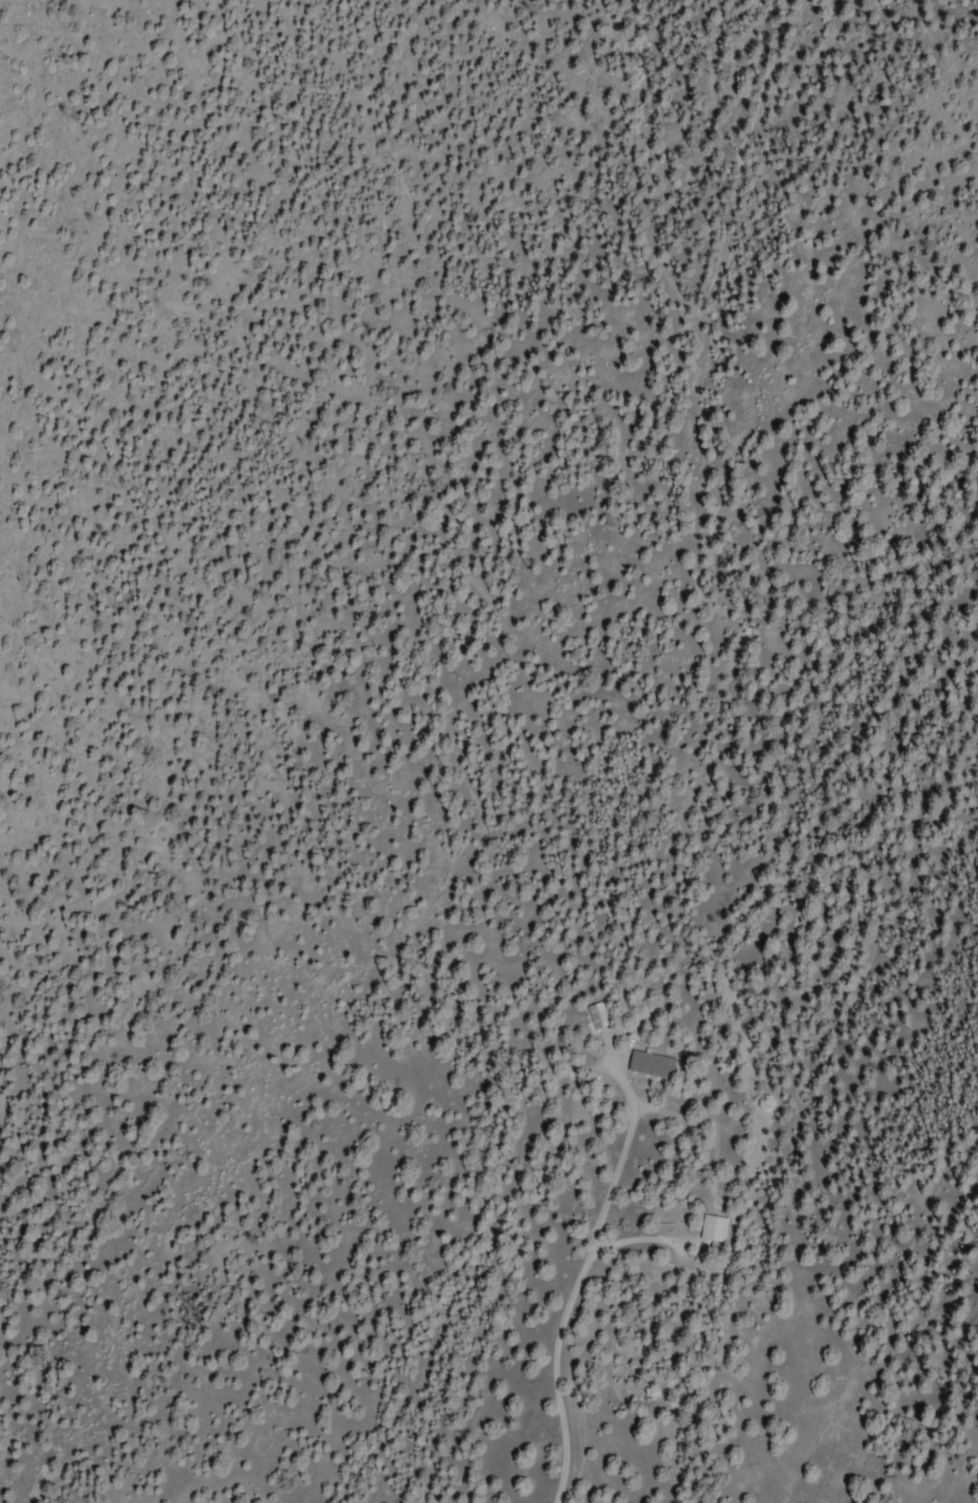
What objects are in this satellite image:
building: (598, 1015)
building: (651, 1064)
building: (714, 1228)

